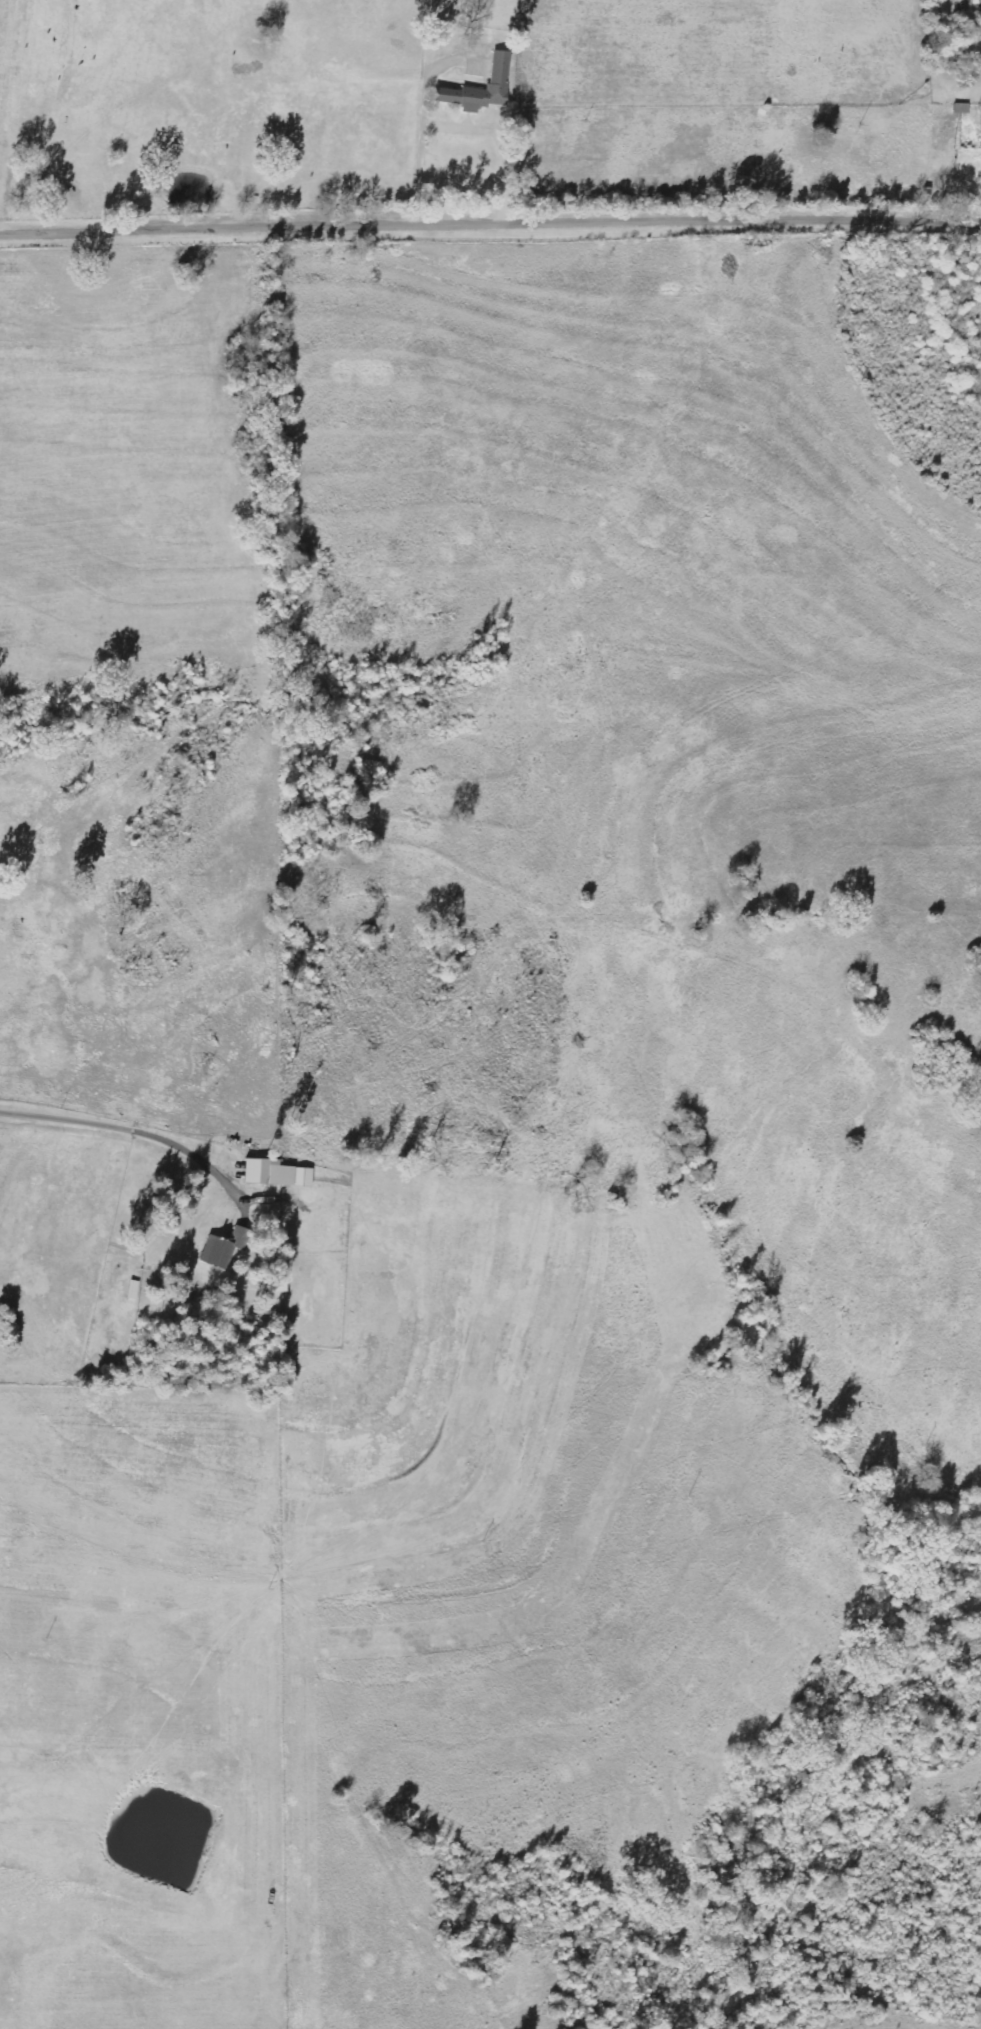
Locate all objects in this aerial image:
building: (500, 68)
building: (961, 108)
road: (490, 219)
building: (276, 1174)
building: (222, 1248)

